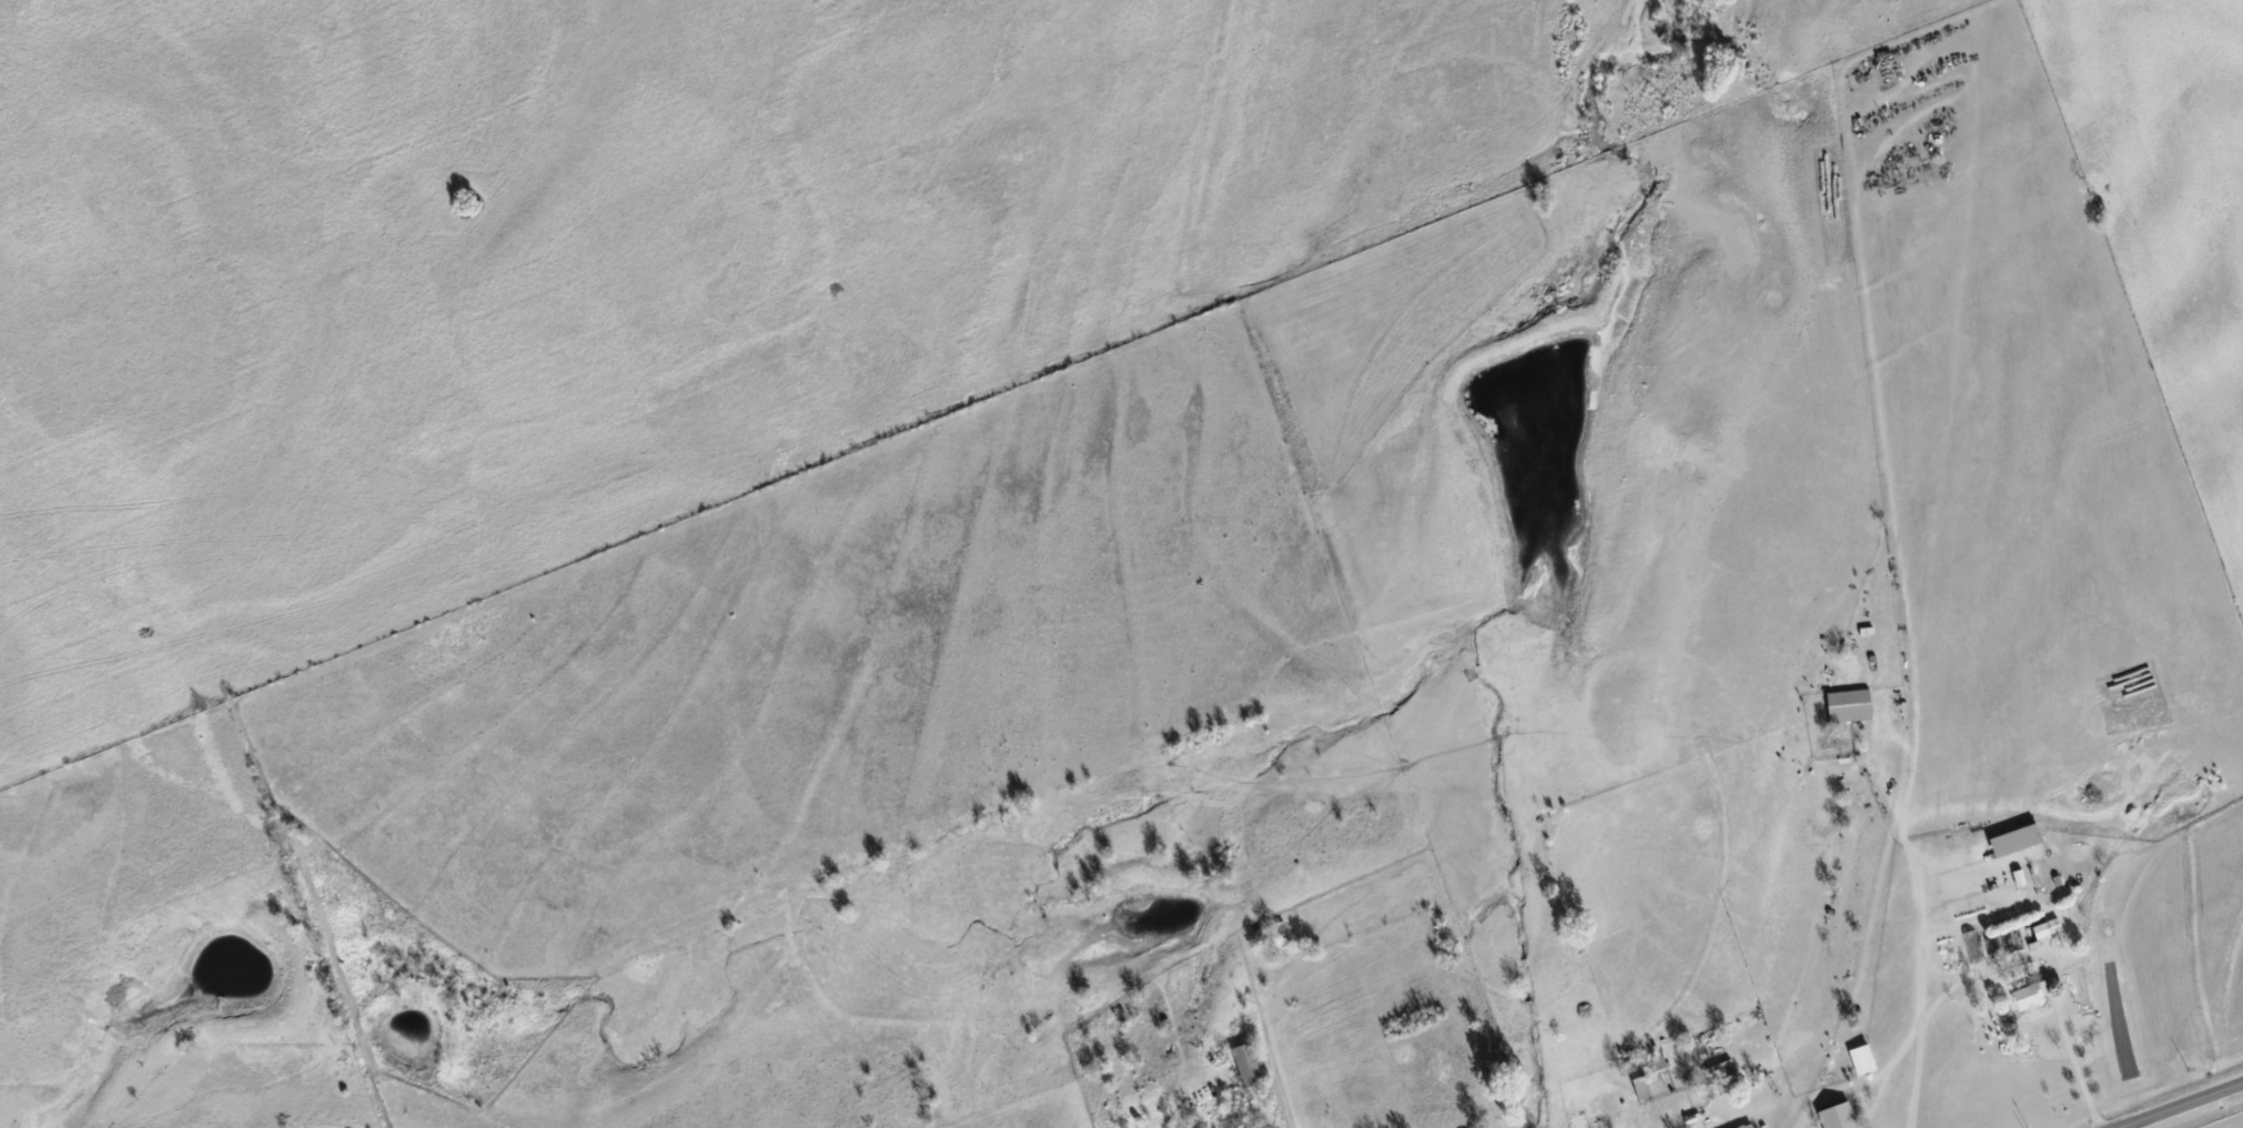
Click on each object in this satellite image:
building: (1848, 704)
building: (2015, 838)
building: (2019, 876)
building: (2047, 927)
road: (1923, 937)
building: (2031, 994)
road: (2078, 1068)
road: (2181, 1105)
building: (1837, 1116)
building: (1746, 1126)

